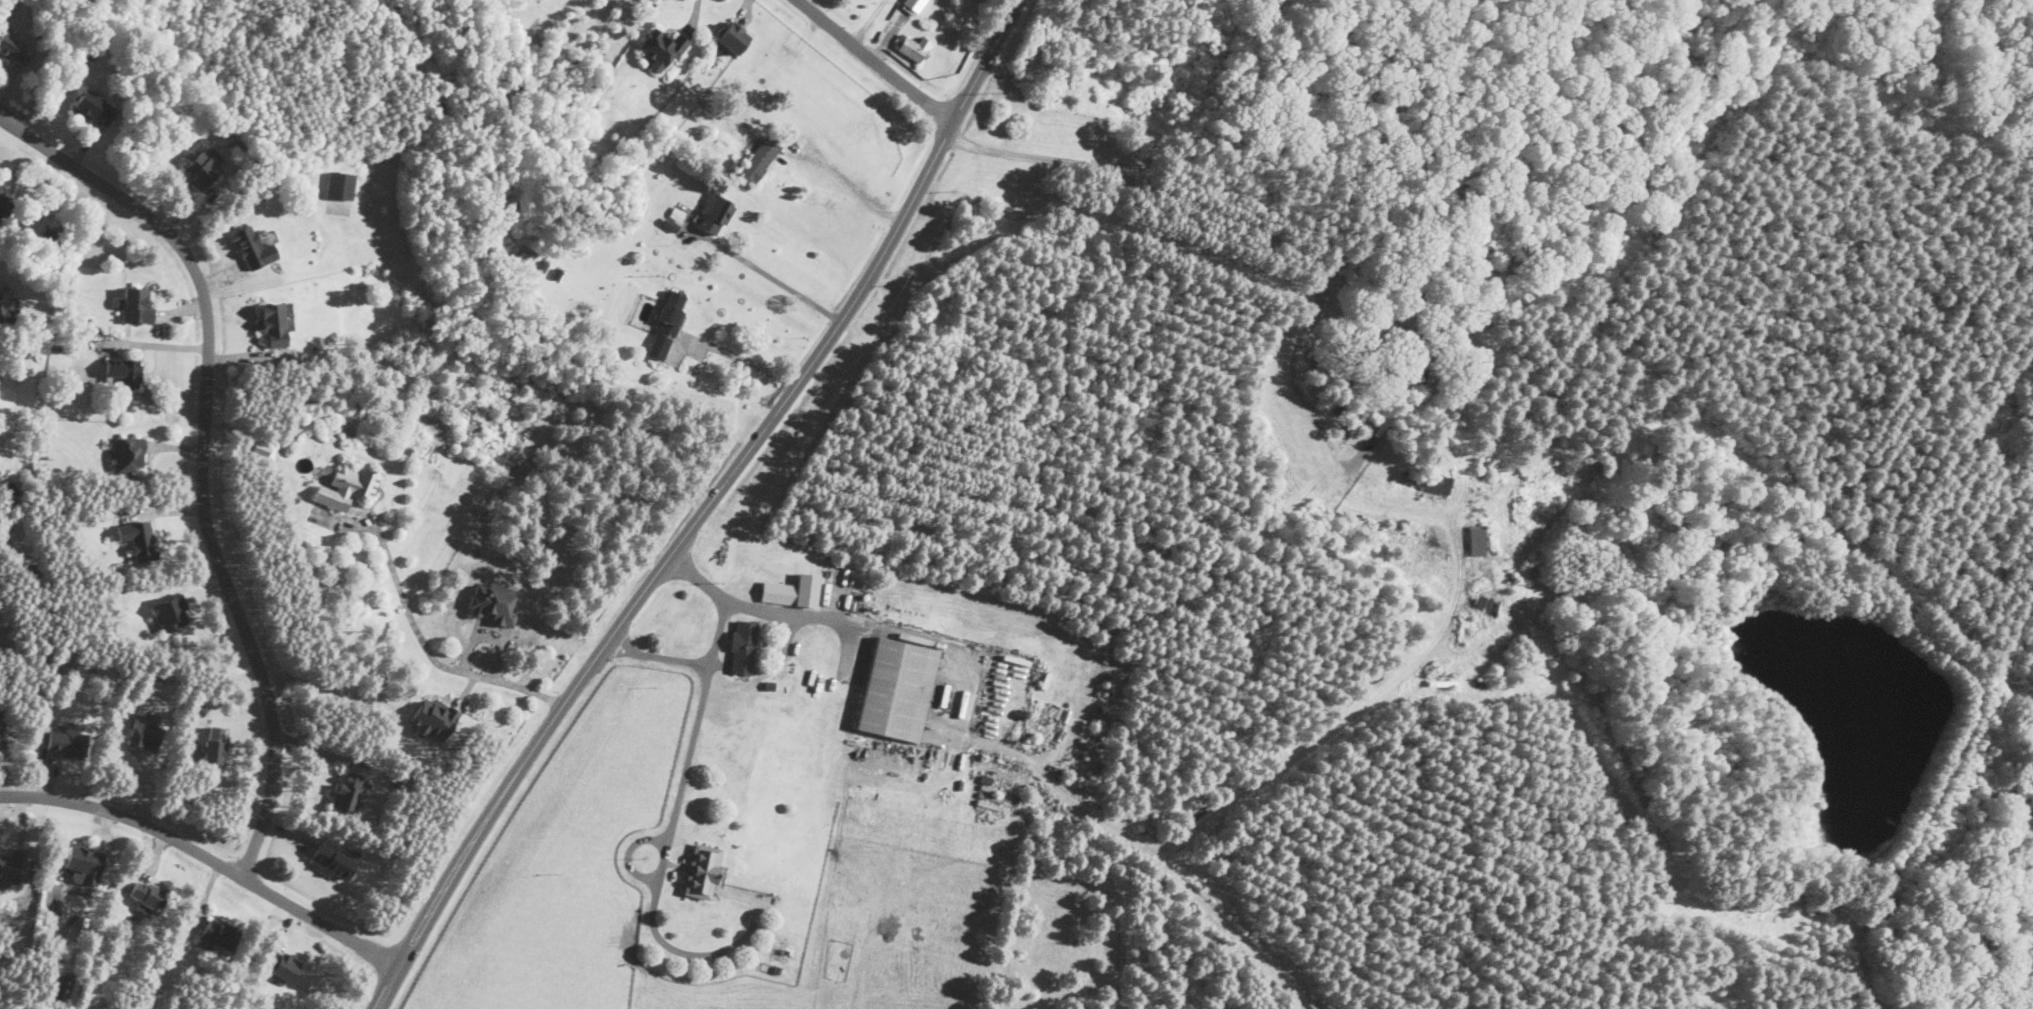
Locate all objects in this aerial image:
building: (912, 5)
road: (694, 13)
road: (868, 21)
building: (733, 37)
building: (914, 46)
building: (15, 48)
building: (660, 48)
road: (875, 60)
building: (94, 107)
building: (759, 158)
building: (202, 168)
building: (340, 185)
road: (846, 190)
building: (1, 198)
building: (714, 213)
road: (1241, 217)
building: (252, 248)
road: (766, 272)
building: (5, 303)
building: (136, 304)
building: (672, 311)
building: (273, 323)
road: (159, 342)
road: (739, 357)
building: (125, 371)
building: (261, 448)
road: (203, 452)
building: (129, 454)
building: (1430, 481)
building: (347, 486)
road: (704, 508)
building: (138, 539)
building: (1477, 540)
building: (793, 590)
road: (726, 598)
building: (493, 603)
building: (170, 612)
road: (793, 612)
building: (743, 646)
road: (425, 647)
building: (896, 688)
building: (433, 718)
building: (144, 734)
building: (66, 742)
building: (214, 743)
building: (348, 789)
road: (673, 815)
road: (208, 855)
building: (332, 860)
building: (85, 864)
building: (14, 866)
building: (702, 870)
building: (147, 895)
building: (217, 934)
building: (280, 964)

